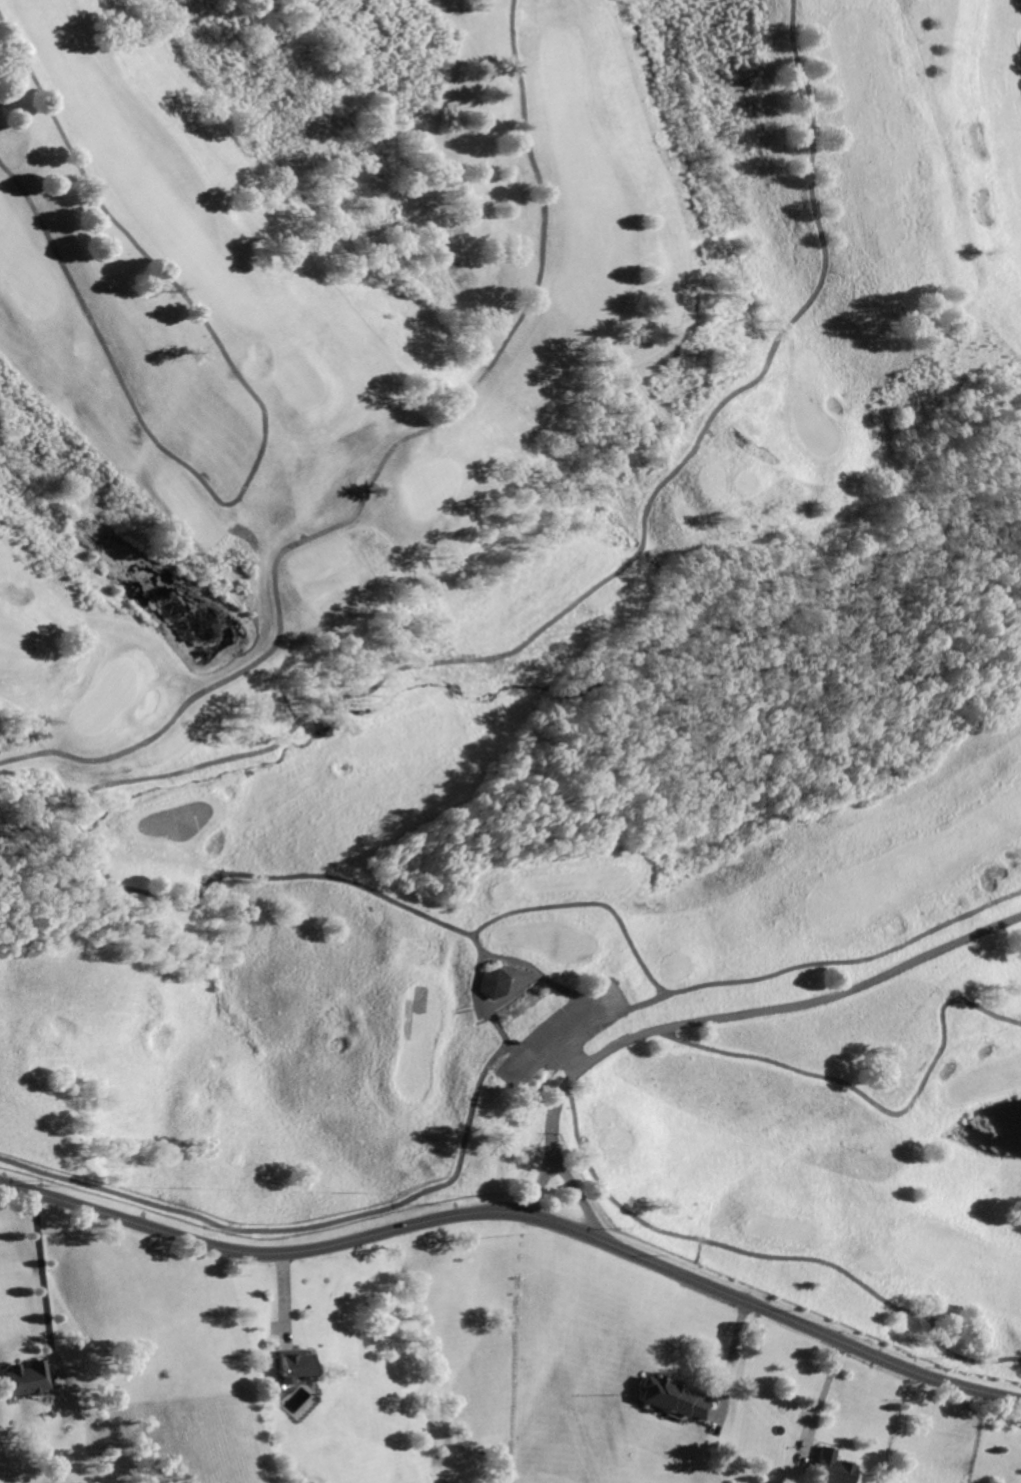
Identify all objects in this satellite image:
park: (298, 381)
road: (262, 438)
road: (377, 470)
park: (432, 486)
park: (522, 635)
road: (379, 689)
park: (105, 699)
road: (587, 904)
road: (947, 920)
road: (749, 978)
building: (495, 984)
road: (480, 1006)
road: (724, 1018)
parking lot: (561, 1036)
road: (575, 1065)
road: (877, 1102)
road: (576, 1195)
road: (520, 1213)
road: (300, 1228)
road: (767, 1257)
road: (46, 1282)
road: (285, 1303)
building: (293, 1366)
road: (729, 1366)
building: (31, 1379)
building: (677, 1399)
road: (820, 1402)
crop: (933, 1434)
crop: (156, 1444)
building: (831, 1467)
building: (314, 1482)

